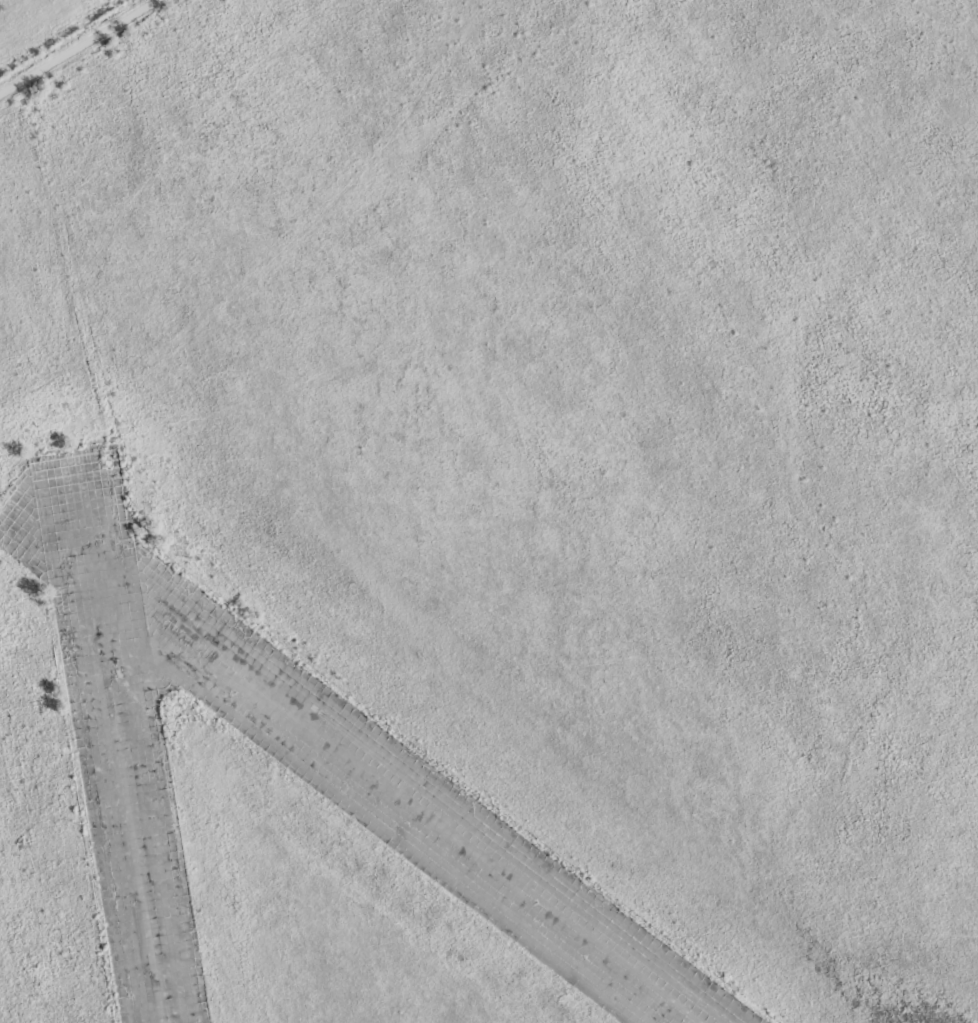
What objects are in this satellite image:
road: (82, 49)

